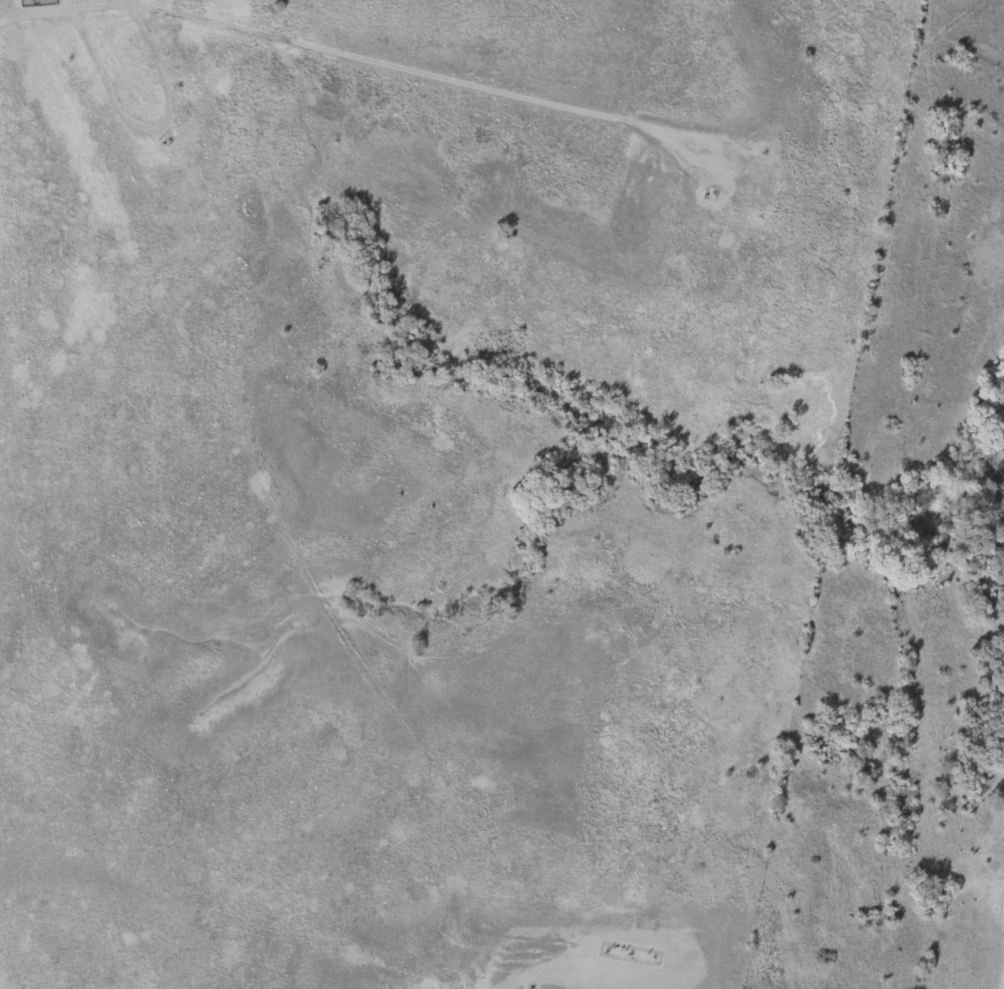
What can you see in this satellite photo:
road: (116, 3)
road: (66, 5)
road: (77, 8)
road: (435, 77)
road: (144, 129)
road: (1002, 985)

